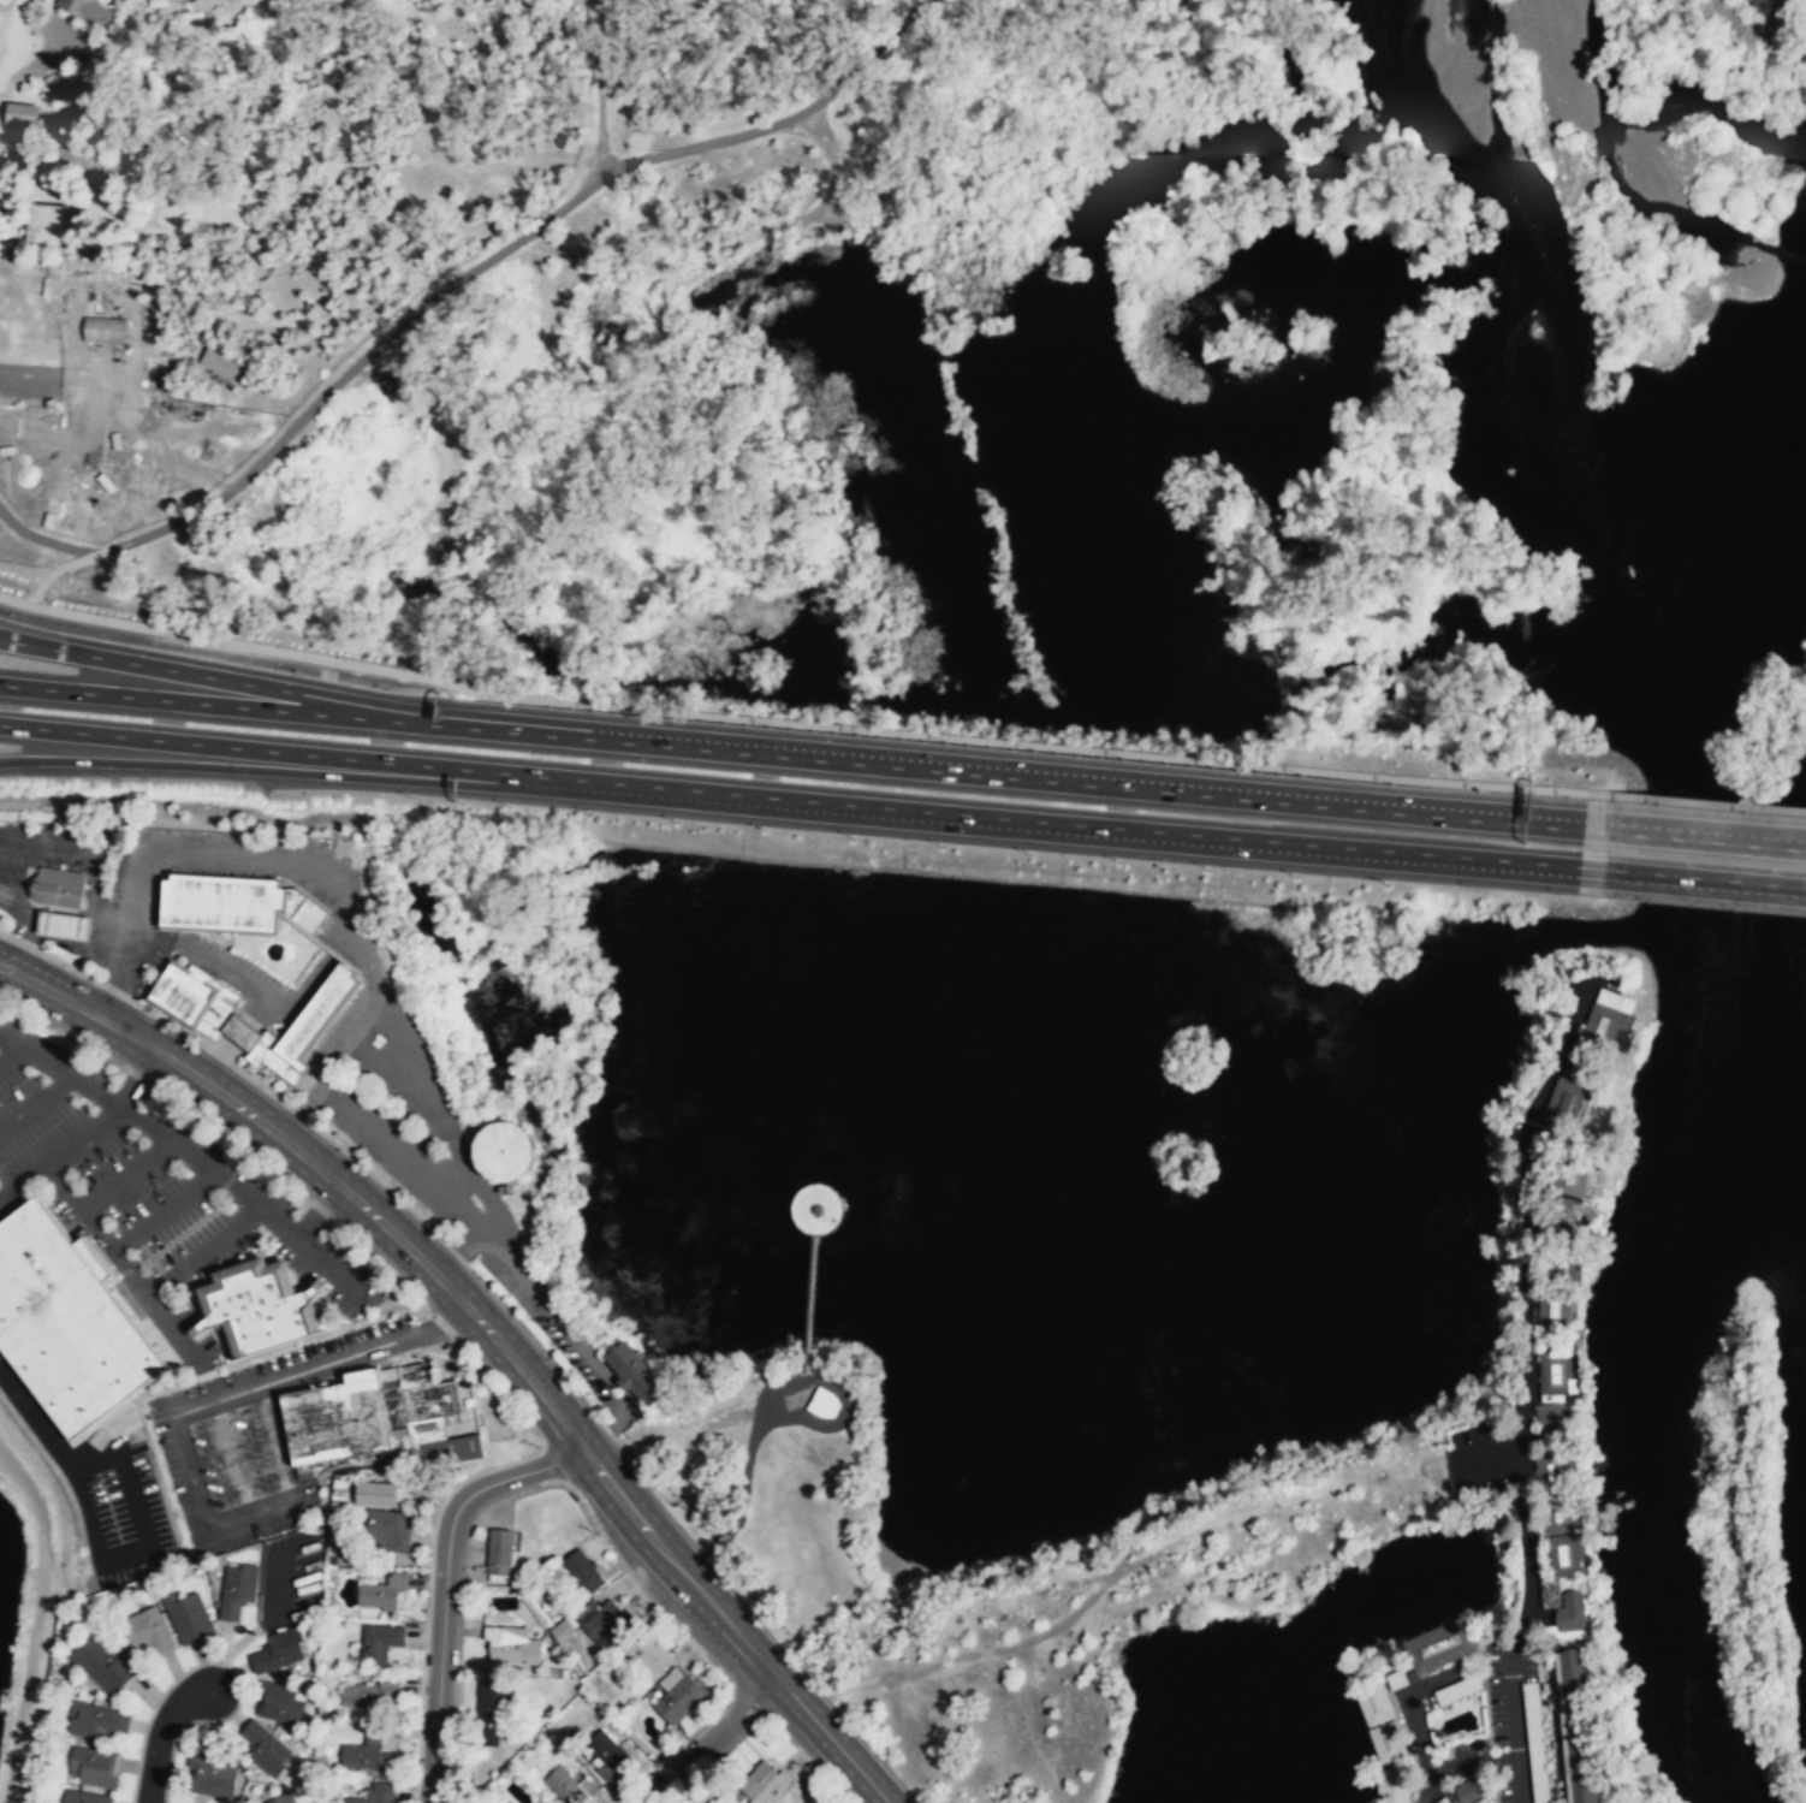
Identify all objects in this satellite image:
building: (160, 2)
building: (85, 11)
road: (16, 17)
road: (16, 46)
road: (598, 88)
building: (69, 89)
building: (18, 113)
road: (406, 161)
road: (499, 166)
building: (43, 223)
park: (536, 263)
road: (464, 275)
road: (287, 321)
building: (105, 330)
building: (224, 363)
road: (30, 370)
road: (139, 419)
road: (43, 542)
road: (14, 600)
street lamp: (48, 604)
street lamp: (107, 615)
street lamp: (286, 646)
street lamp: (345, 658)
street lamp: (405, 668)
road: (195, 674)
road: (195, 702)
road: (815, 725)
road: (280, 751)
road: (280, 772)
road: (986, 773)
road: (1706, 803)
road: (1070, 828)
road: (1694, 834)
road: (168, 860)
road: (1692, 880)
building: (57, 886)
road: (96, 896)
road: (340, 897)
building: (233, 902)
road: (18, 909)
parking lot: (131, 921)
building: (63, 924)
gas station: (63, 924)
road: (114, 931)
road: (357, 938)
road: (34, 947)
road: (13, 950)
road: (201, 959)
road: (370, 979)
building: (195, 997)
road: (103, 998)
building: (1611, 1018)
building: (303, 1026)
road: (233, 1039)
road: (7, 1054)
parking lot: (387, 1092)
building: (1569, 1095)
road: (35, 1107)
road: (301, 1110)
road: (433, 1111)
road: (109, 1115)
road: (367, 1122)
building: (505, 1151)
road: (191, 1156)
road: (245, 1157)
road: (126, 1175)
building: (1570, 1179)
road: (23, 1182)
building: (820, 1209)
road: (164, 1212)
road: (319, 1212)
building: (1566, 1218)
road: (462, 1241)
road: (202, 1249)
road: (124, 1263)
building: (1564, 1268)
pier: (812, 1305)
building: (261, 1310)
building: (1556, 1311)
building: (65, 1324)
road: (448, 1325)
road: (488, 1330)
road: (451, 1338)
road: (572, 1340)
road: (421, 1353)
building: (1560, 1370)
building: (636, 1374)
road: (1528, 1393)
road: (768, 1394)
building: (824, 1402)
road: (200, 1405)
building: (376, 1418)
building: (1552, 1422)
road: (117, 1429)
road: (48, 1434)
road: (277, 1441)
road: (233, 1457)
building: (1552, 1472)
building: (380, 1494)
street lamp: (432, 1501)
building: (1557, 1519)
building: (388, 1529)
building: (499, 1552)
road: (125, 1554)
building: (584, 1570)
road: (290, 1574)
parking lot: (291, 1577)
road: (445, 1584)
building: (1549, 1586)
building: (237, 1589)
building: (378, 1595)
building: (189, 1617)
building: (601, 1618)
street lamp: (424, 1619)
road: (36, 1621)
building: (147, 1630)
building: (563, 1630)
building: (380, 1642)
road: (238, 1643)
building: (512, 1643)
building: (1438, 1647)
building: (278, 1650)
building: (648, 1653)
building: (103, 1663)
building: (369, 1692)
building: (678, 1698)
building: (279, 1702)
building: (492, 1709)
building: (95, 1720)
building: (1380, 1725)
building: (1578, 1727)
road: (160, 1734)
road: (712, 1740)
building: (265, 1748)
building: (607, 1749)
building: (368, 1758)
building: (94, 1766)
street lamp: (659, 1768)
building: (212, 1775)
building: (764, 1783)
building: (565, 1784)
building: (1390, 1787)
building: (1468, 1792)
building: (376, 1793)
building: (83, 1797)
building: (284, 1798)
building: (813, 1802)
building: (1439, 1802)

